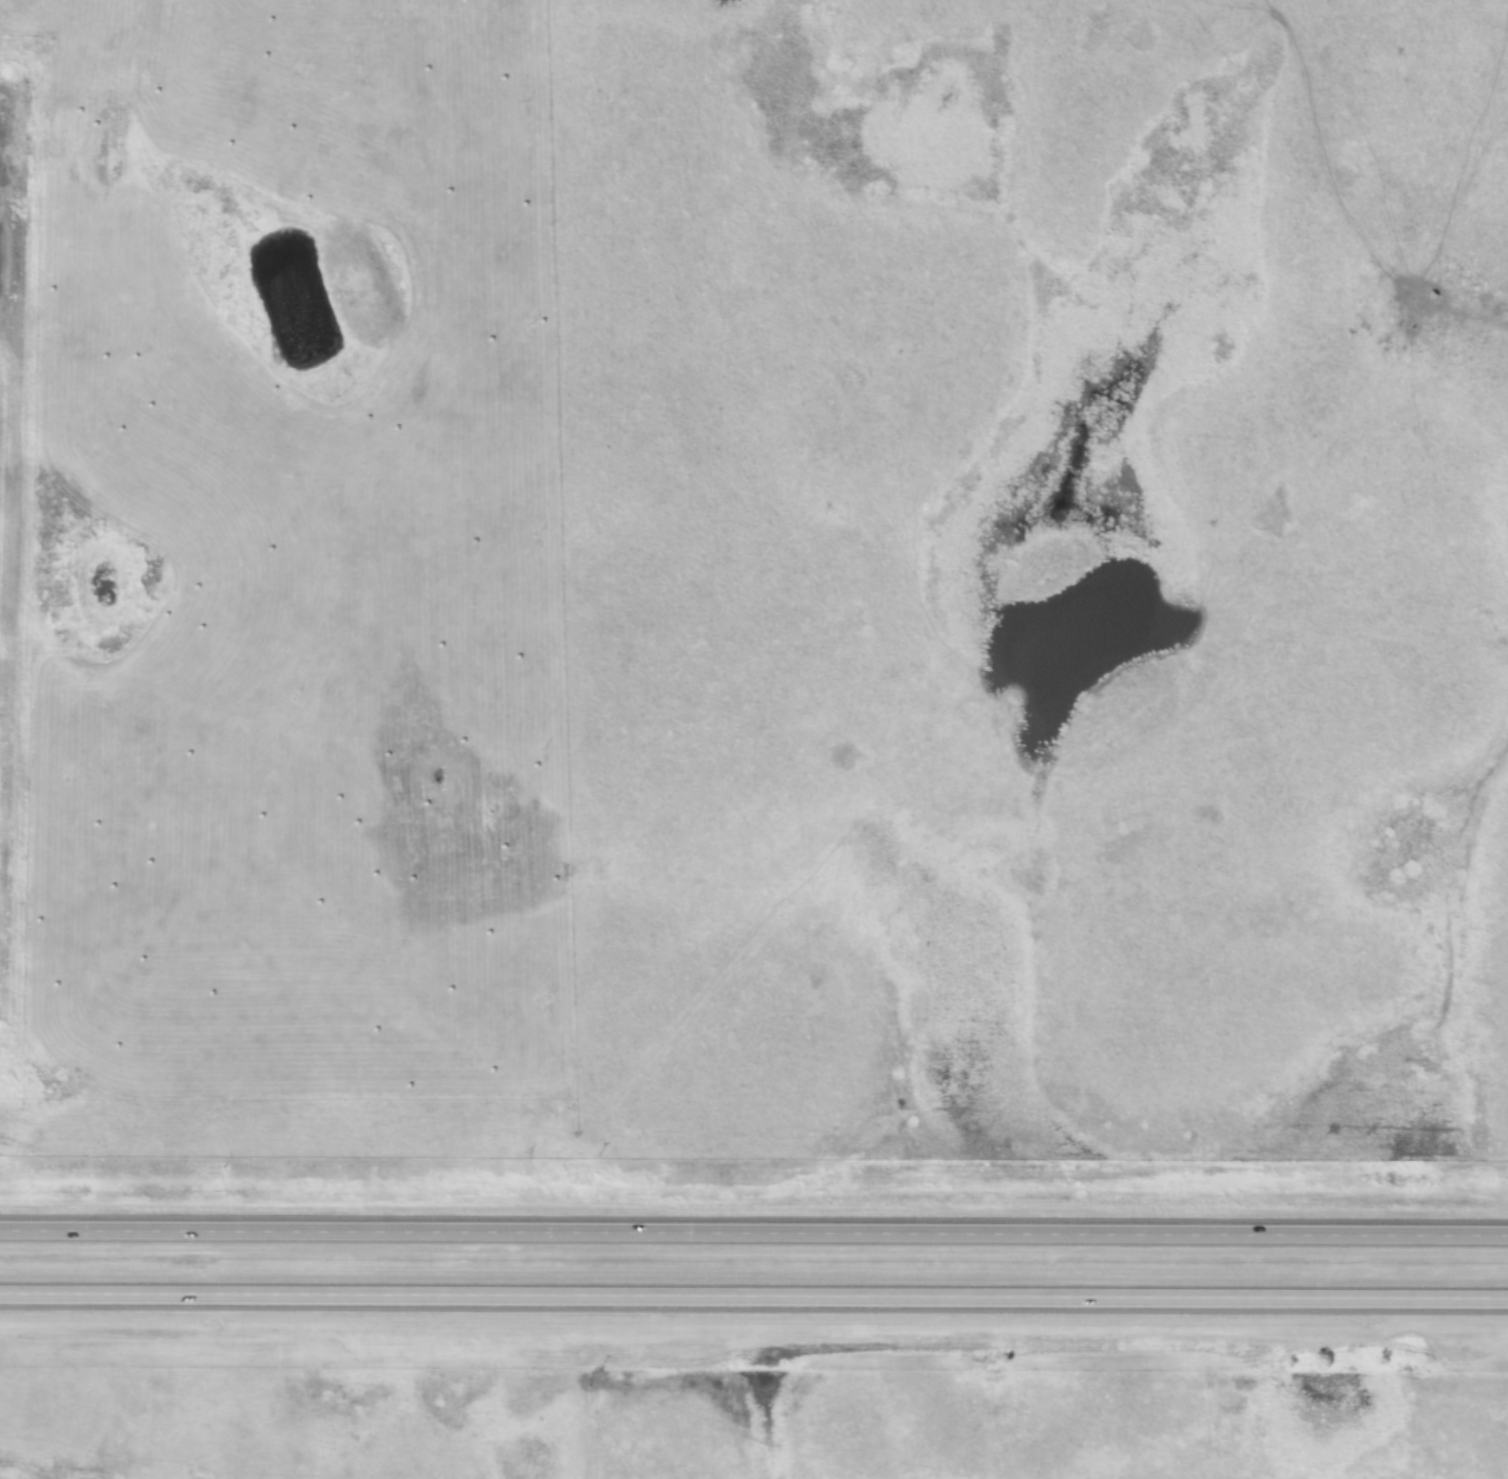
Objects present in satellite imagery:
road: (754, 1235)
road: (754, 1302)

